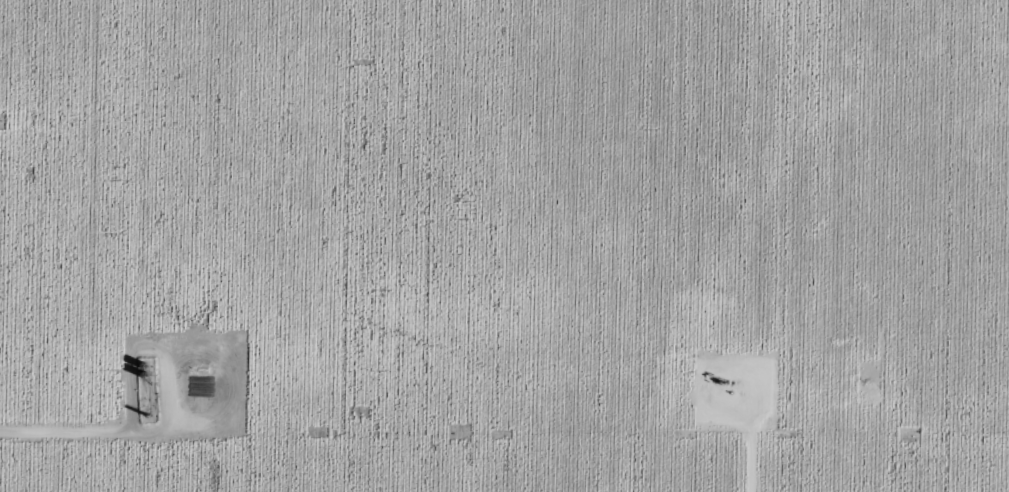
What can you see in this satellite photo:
petroleum well: (721, 390)

